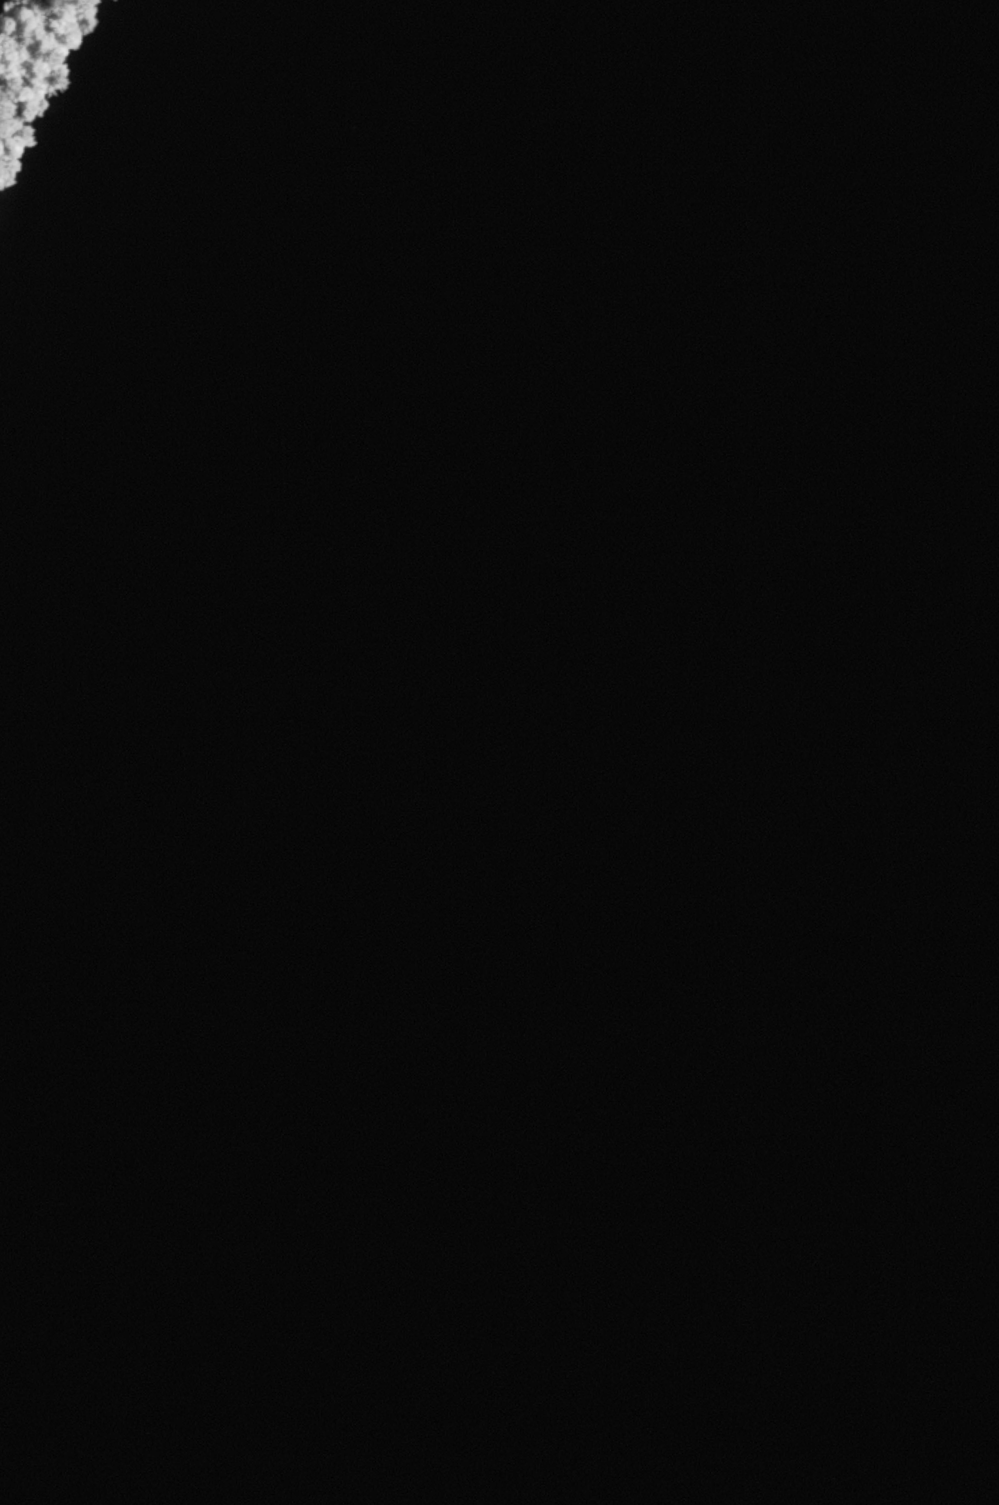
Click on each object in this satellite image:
building: (3, 2)

